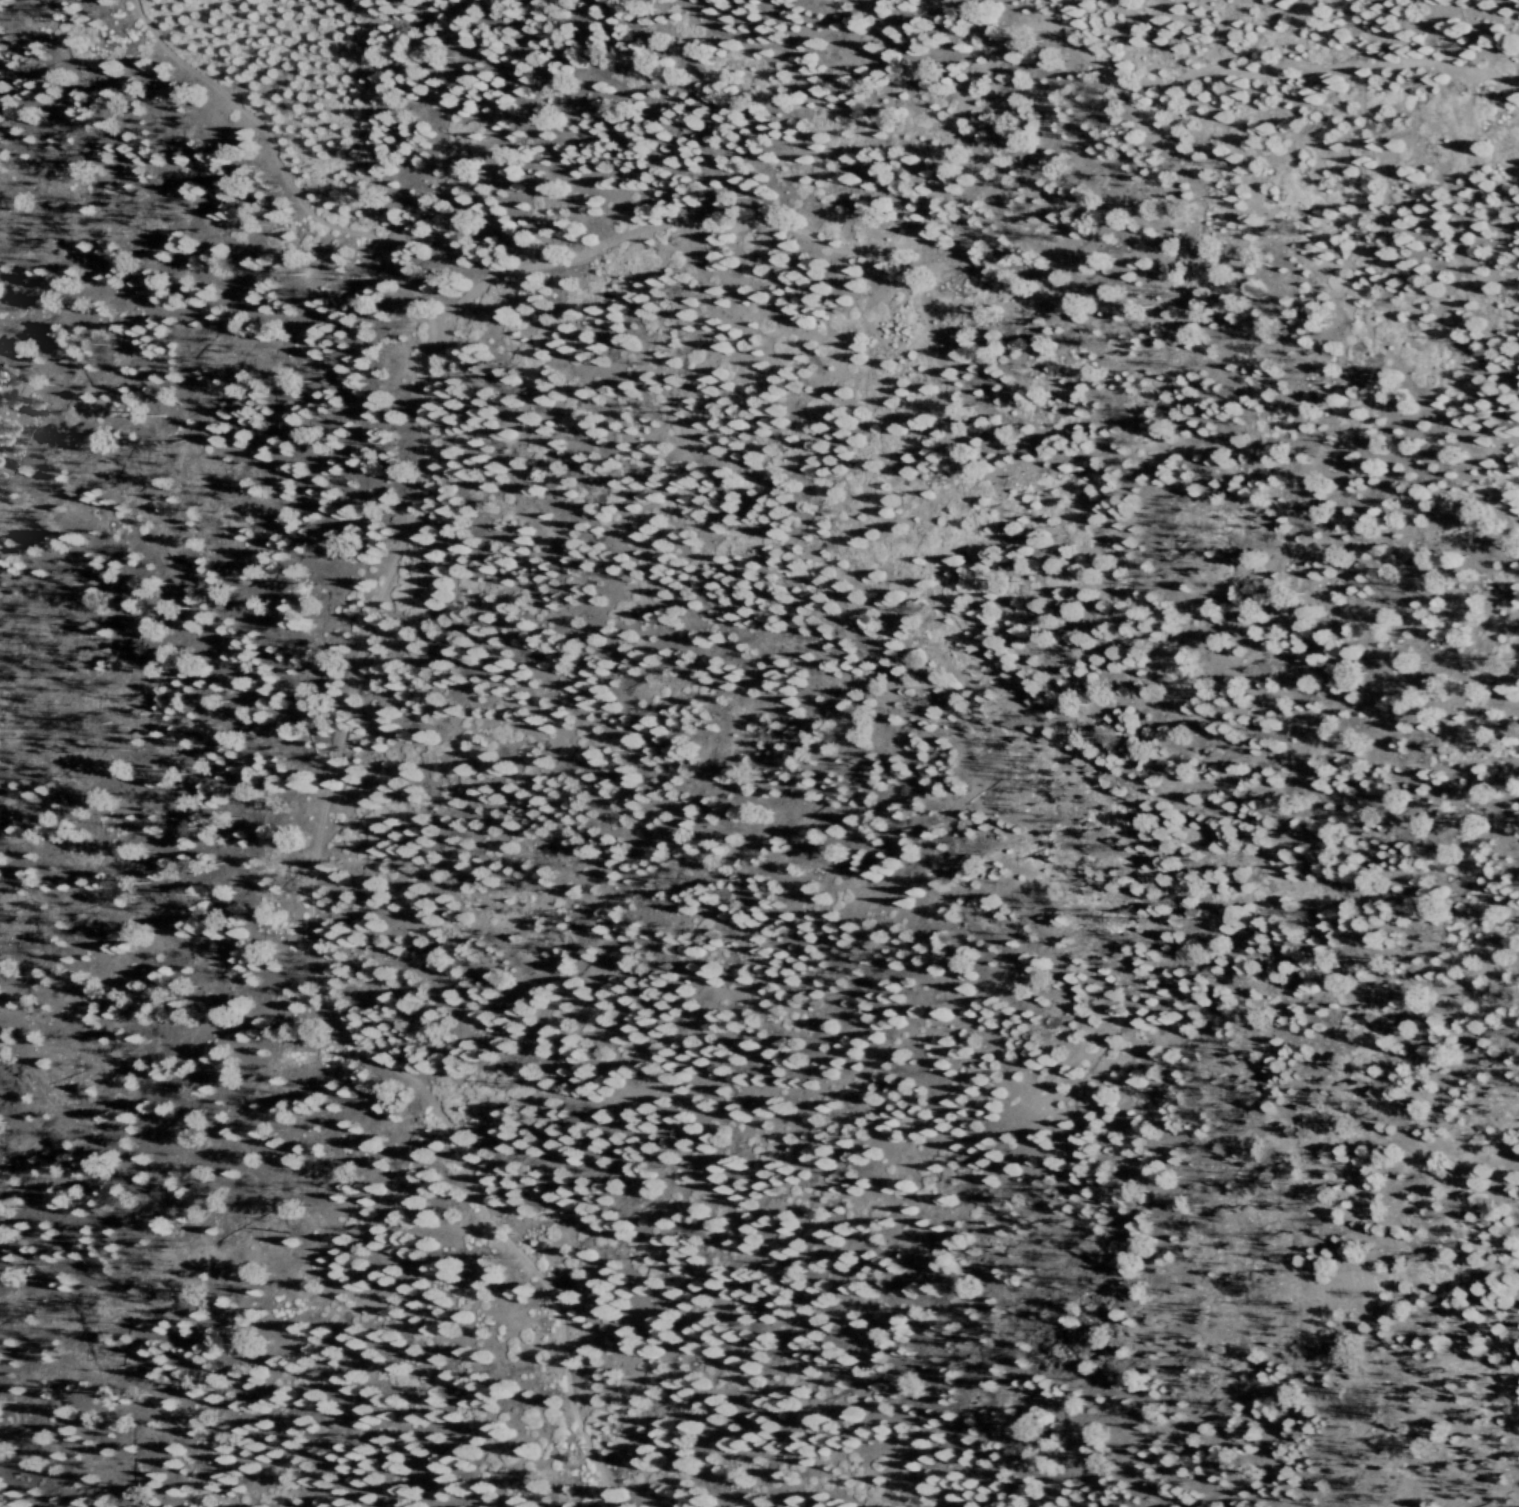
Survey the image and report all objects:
road: (1196, 156)
road: (930, 237)
road: (336, 731)
road: (126, 1378)

